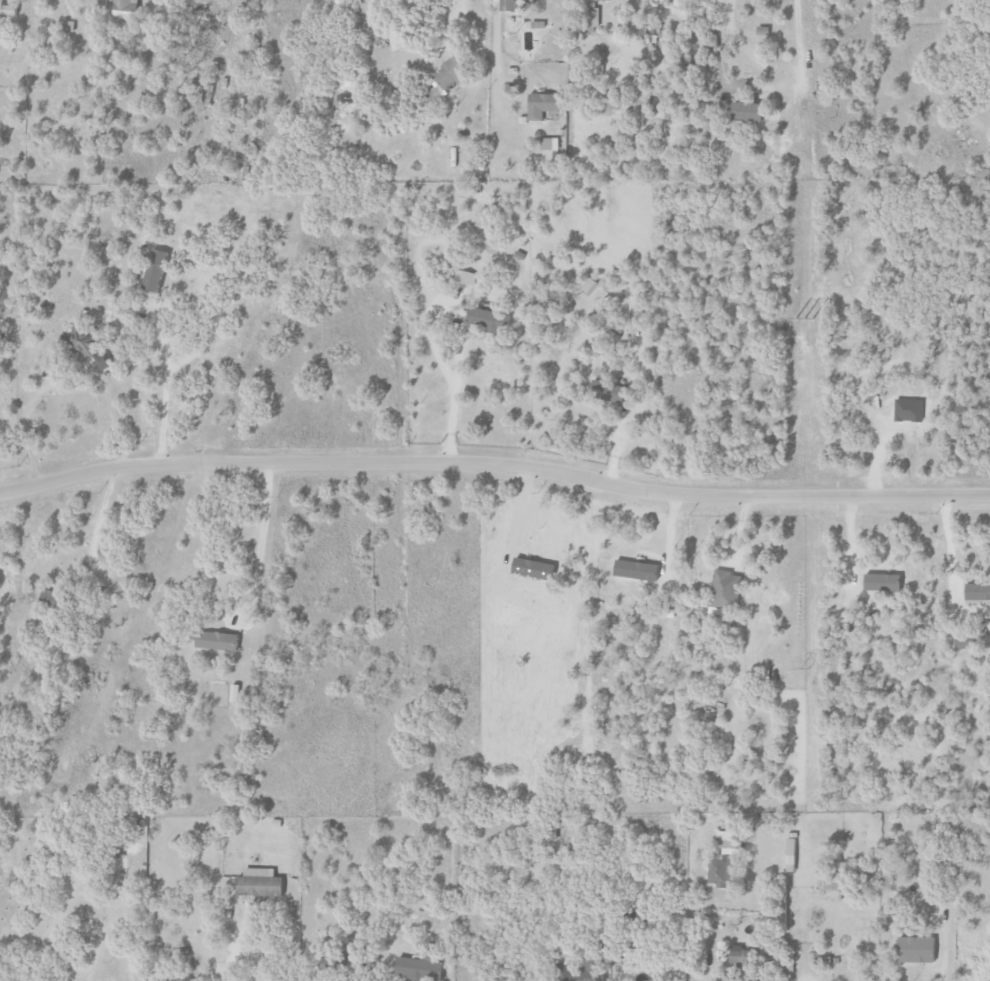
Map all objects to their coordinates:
building: (516, 5)
building: (8, 9)
building: (126, 10)
building: (591, 17)
building: (69, 26)
building: (764, 30)
building: (397, 38)
road: (799, 54)
road: (490, 55)
building: (447, 79)
building: (207, 91)
building: (611, 100)
building: (543, 105)
building: (749, 111)
building: (547, 143)
building: (156, 269)
building: (465, 276)
building: (595, 290)
power tower: (805, 318)
building: (487, 319)
building: (88, 346)
road: (457, 349)
road: (59, 384)
road: (162, 390)
building: (606, 391)
road: (494, 464)
road: (92, 528)
road: (254, 573)
building: (879, 581)
building: (722, 589)
building: (975, 591)
building: (50, 599)
building: (703, 630)
building: (218, 641)
building: (961, 641)
power tower: (805, 667)
building: (235, 693)
building: (721, 835)
building: (788, 854)
building: (721, 865)
building: (262, 884)
road: (685, 890)
building: (779, 908)
building: (913, 948)
road: (236, 949)
road: (945, 950)
building: (741, 955)
road: (386, 956)
road: (365, 966)
building: (418, 968)
road: (631, 971)
building: (577, 972)
road: (702, 975)

